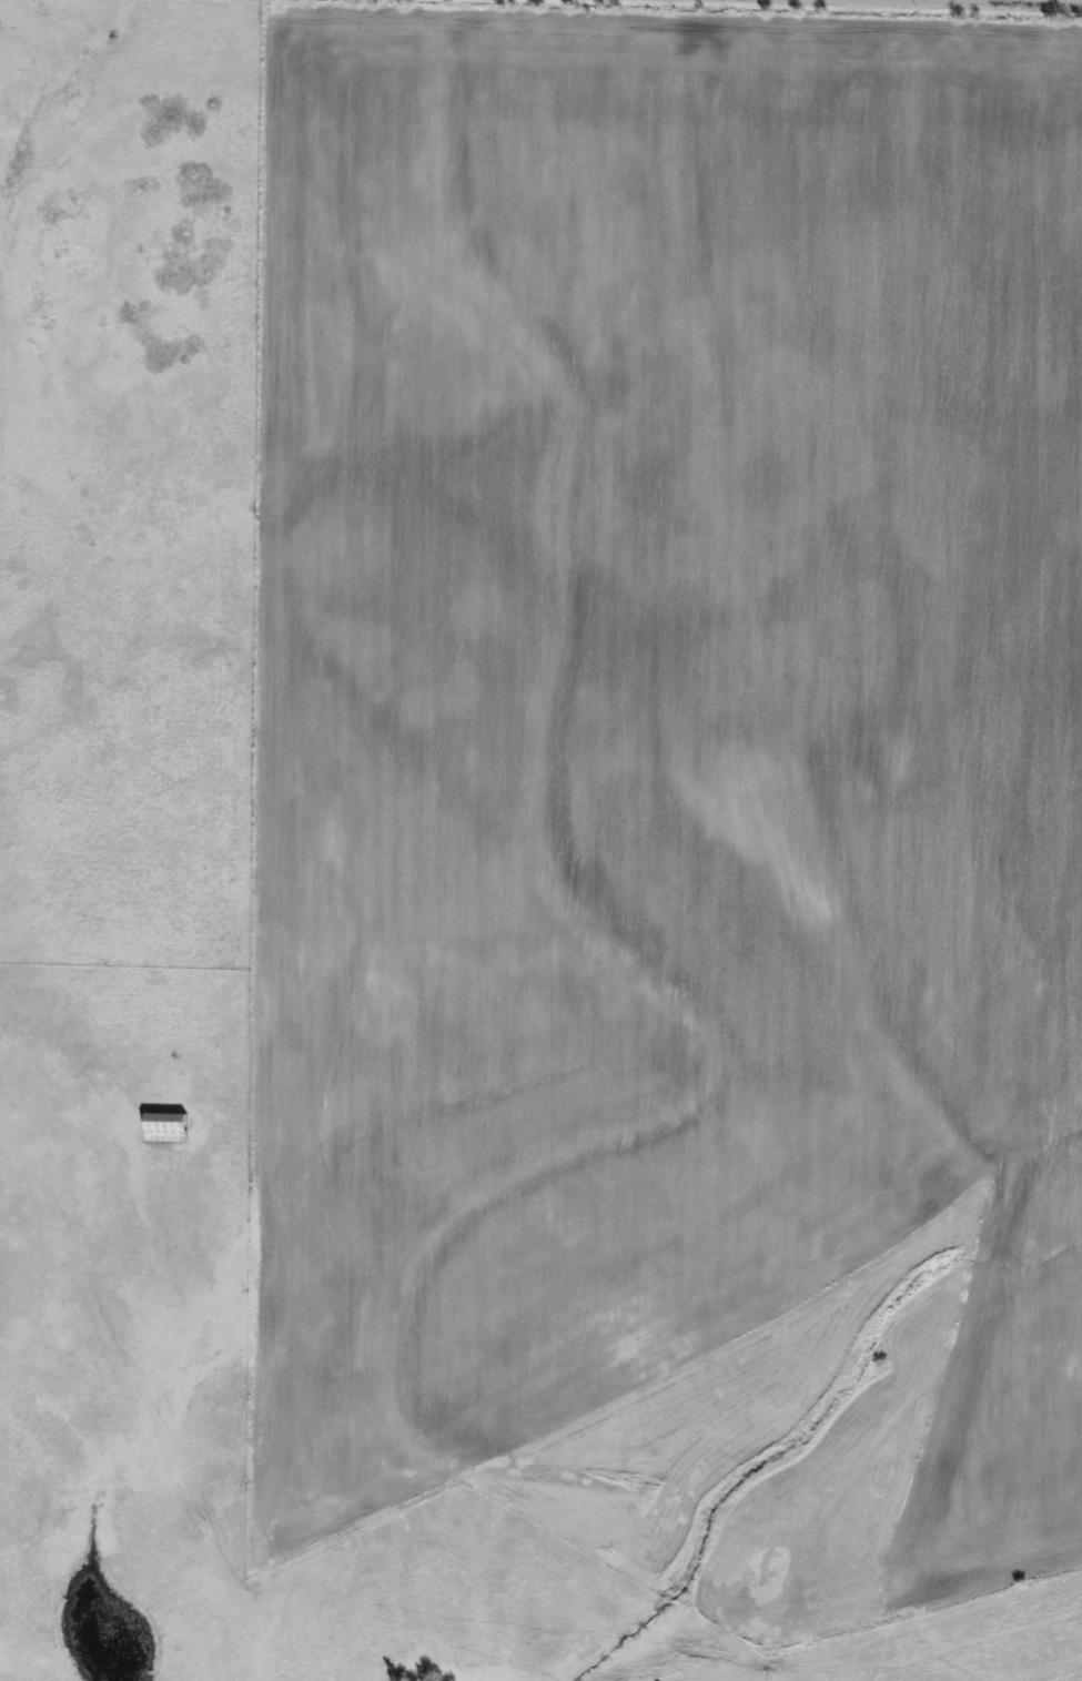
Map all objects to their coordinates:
road: (910, 4)
building: (166, 1126)
crop: (1, 1510)

